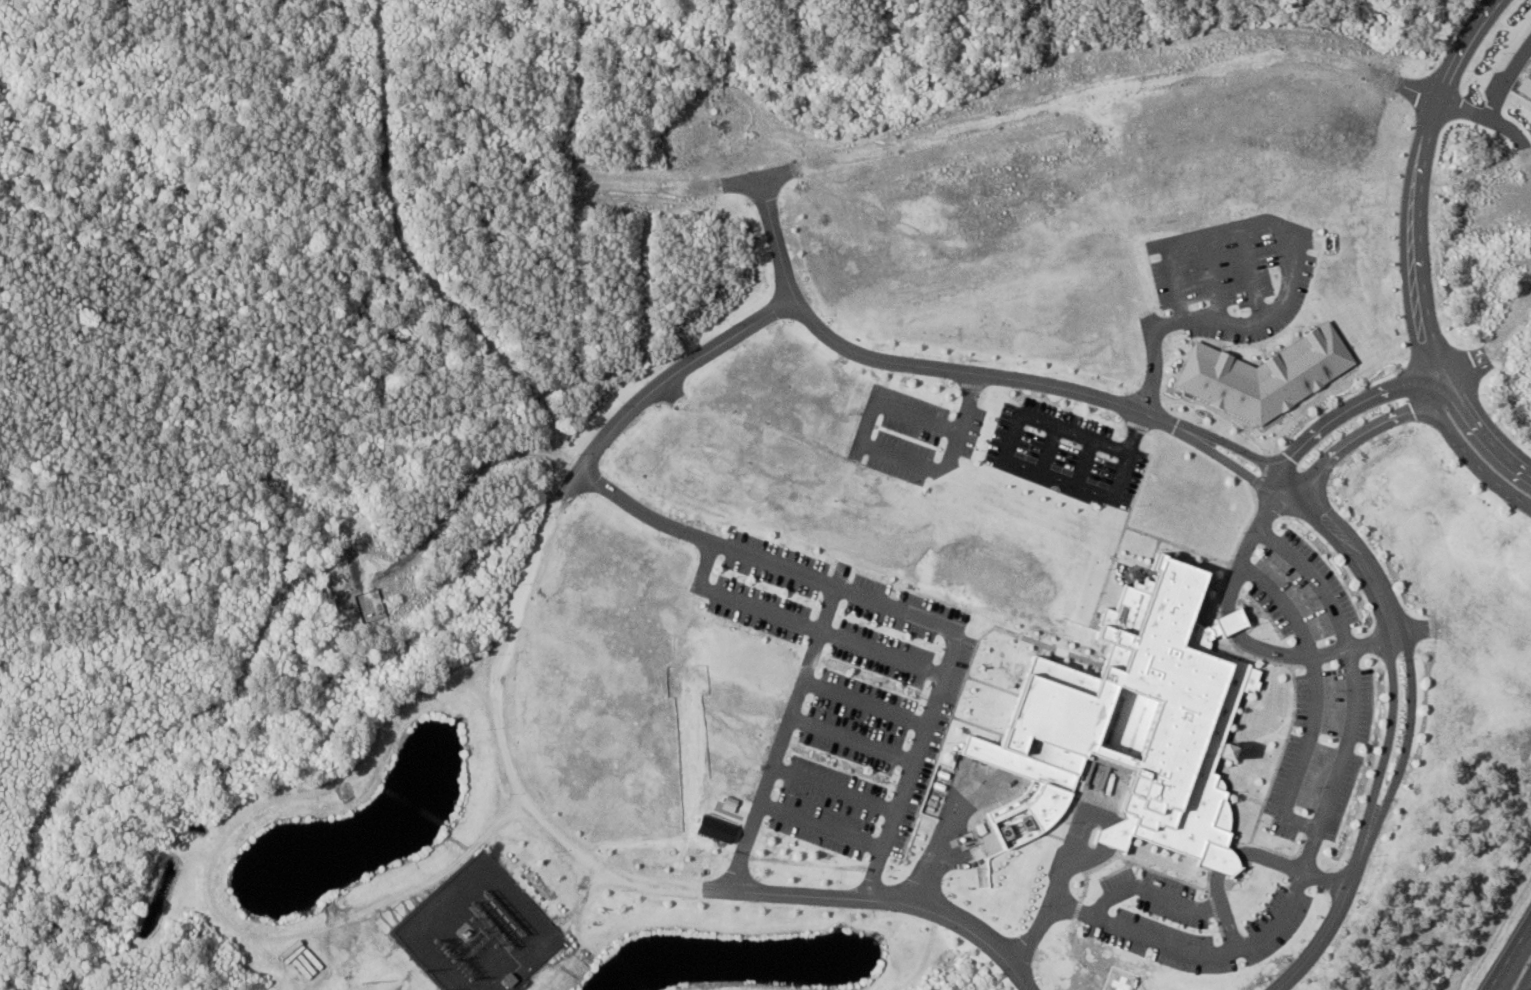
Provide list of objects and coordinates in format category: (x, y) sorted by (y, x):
road: (1430, 308)
road: (1413, 328)
building: (1273, 352)
road: (915, 366)
road: (1351, 415)
parking lot: (913, 435)
road: (1367, 436)
road: (890, 455)
road: (1048, 457)
parking lot: (1066, 461)
road: (1083, 469)
road: (1023, 481)
building: (1430, 545)
road: (1397, 601)
building: (369, 605)
road: (1385, 607)
road: (902, 609)
road: (802, 624)
road: (1248, 643)
parking lot: (845, 688)
parking lot: (1319, 694)
road: (1318, 699)
road: (869, 704)
building: (1452, 710)
building: (1123, 729)
road: (787, 740)
parking lot: (937, 740)
road: (856, 742)
road: (514, 772)
road: (840, 790)
road: (828, 827)
road: (1317, 835)
road: (945, 842)
road: (1221, 868)
road: (1326, 882)
road: (1151, 892)
road: (1051, 894)
parking lot: (1155, 895)
parking lot: (1129, 930)
power substation: (479, 931)
road: (1322, 938)
road: (1074, 951)
power tower: (448, 953)
road: (1513, 961)
power tower: (418, 971)
power tower: (359, 984)
helipad: (1118, 985)

